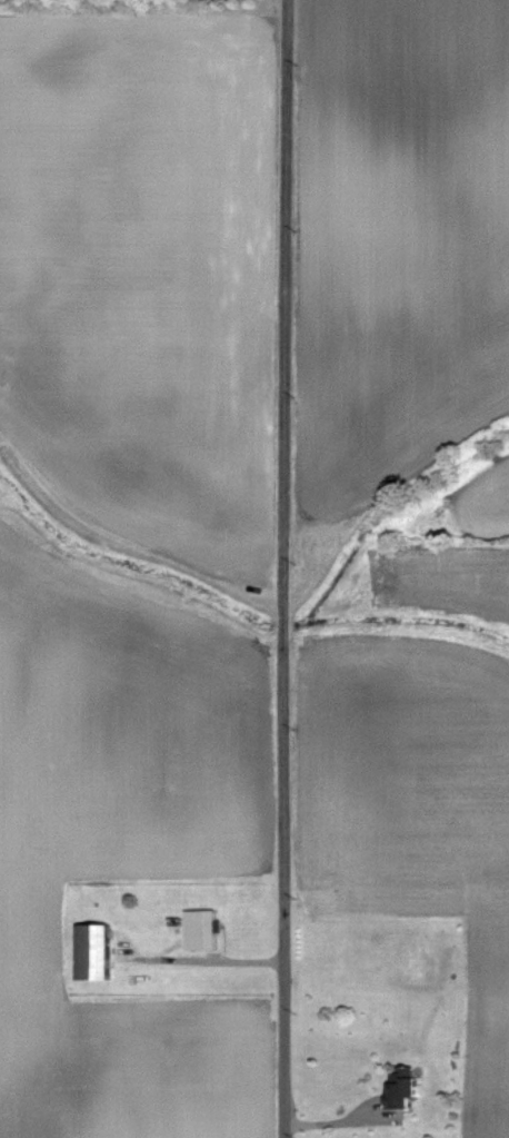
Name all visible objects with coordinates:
road: (282, 568)
building: (204, 931)
building: (97, 953)

